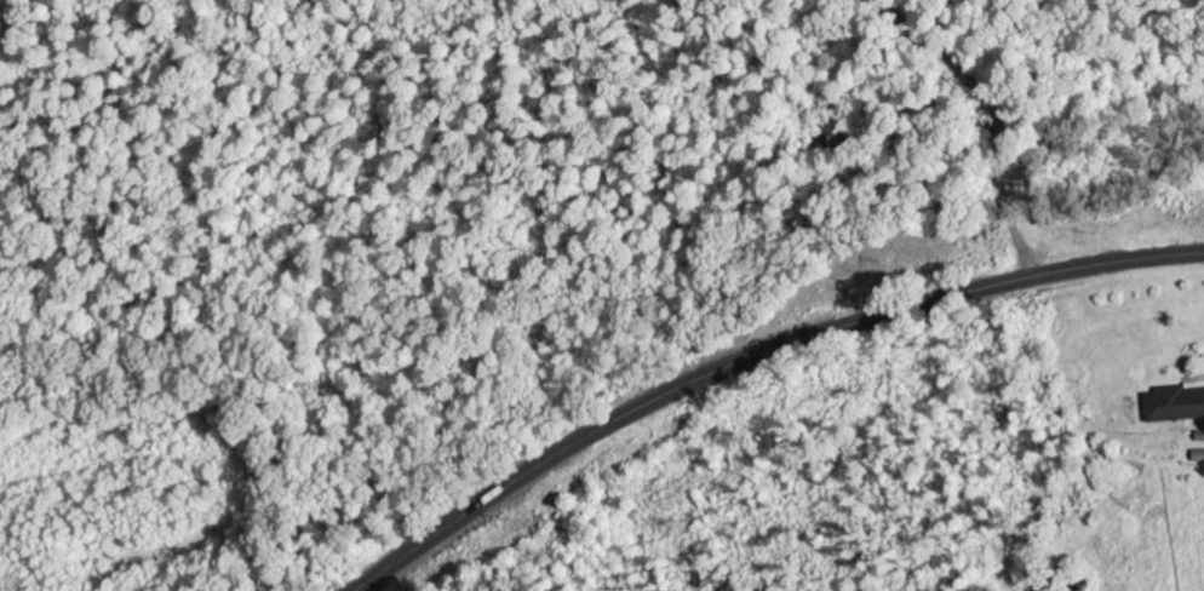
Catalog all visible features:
road: (752, 357)
building: (1176, 404)

